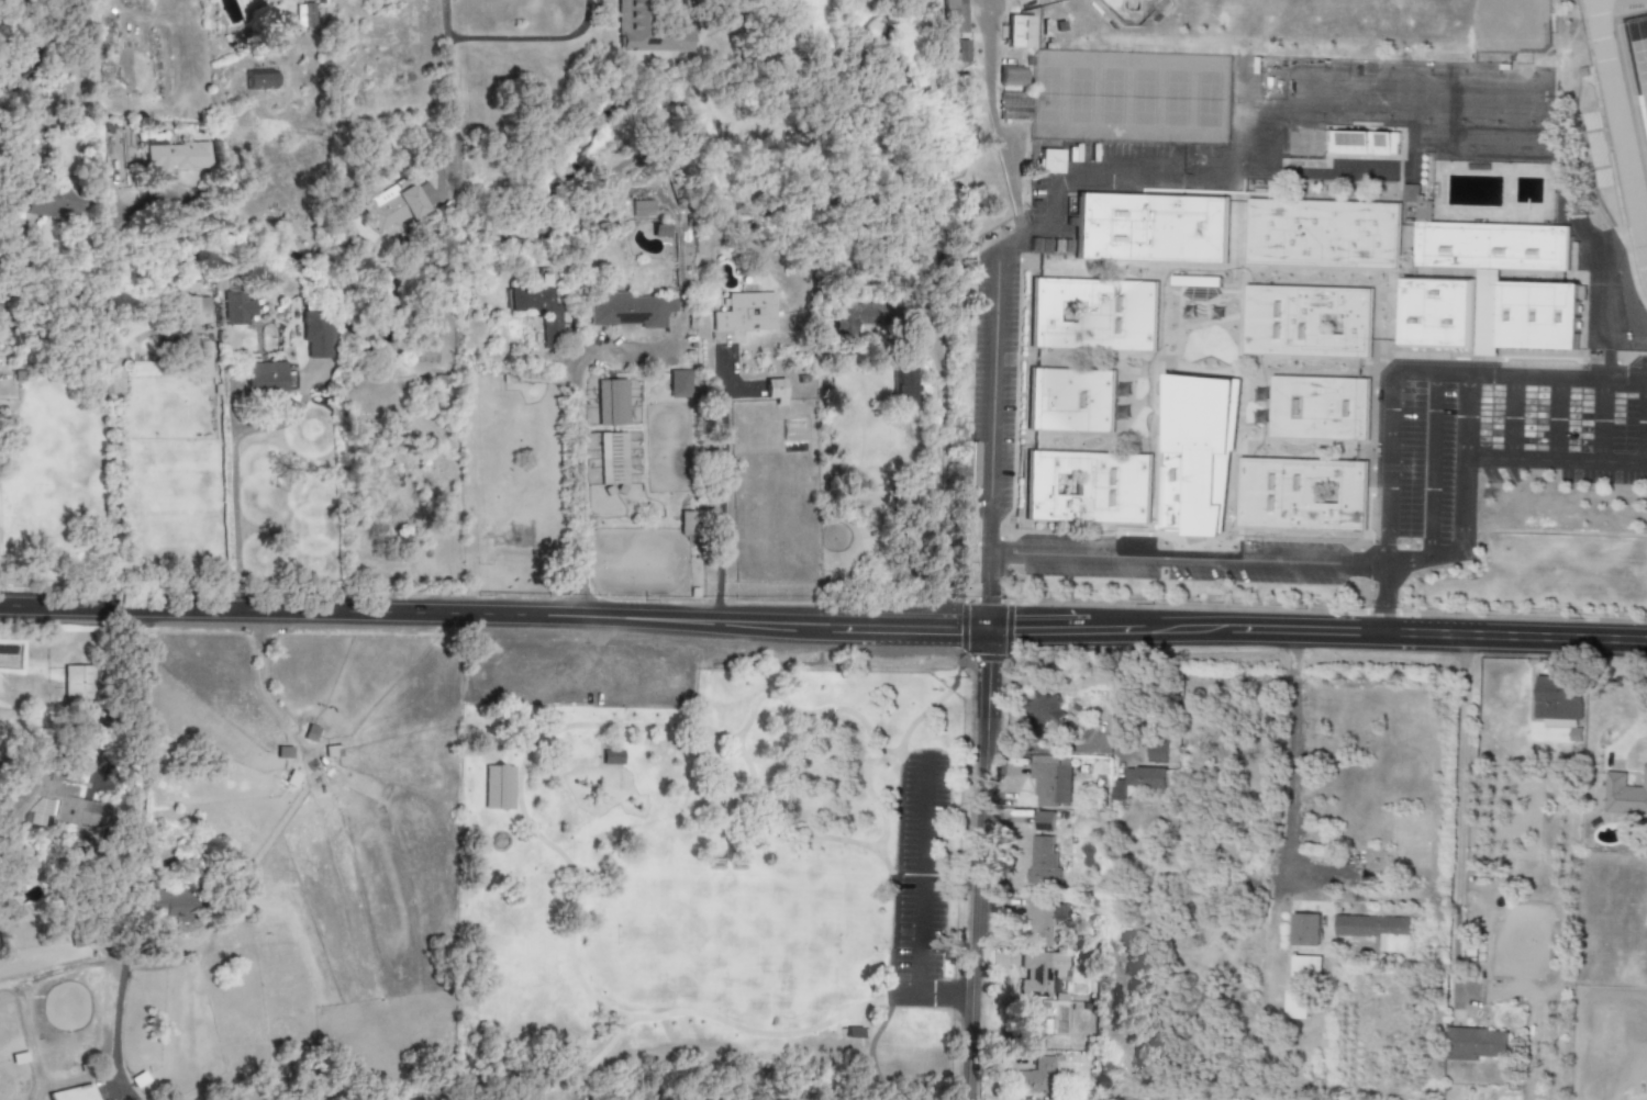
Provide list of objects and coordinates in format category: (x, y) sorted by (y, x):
road: (112, 0)
building: (304, 15)
building: (953, 16)
road: (445, 20)
building: (646, 31)
building: (1020, 32)
road: (531, 43)
park: (1639, 53)
building: (1011, 76)
building: (259, 79)
road: (444, 101)
track: (1618, 131)
building: (1362, 143)
building: (1294, 146)
building: (1313, 146)
building: (175, 157)
building: (1049, 161)
road: (1212, 175)
road: (848, 202)
building: (54, 203)
building: (399, 207)
building: (642, 209)
building: (1150, 227)
building: (658, 232)
building: (1322, 234)
road: (280, 251)
road: (29, 261)
road: (680, 274)
building: (1195, 282)
building: (1487, 288)
road: (12, 298)
road: (105, 308)
building: (237, 308)
building: (627, 310)
building: (197, 311)
building: (539, 312)
building: (745, 313)
building: (1092, 315)
building: (857, 317)
building: (1307, 322)
building: (318, 334)
building: (198, 358)
road: (1428, 372)
building: (903, 377)
road: (1557, 377)
building: (264, 378)
building: (679, 384)
building: (775, 391)
building: (1069, 401)
building: (612, 403)
building: (1318, 408)
road: (1511, 417)
road: (1555, 418)
road: (1600, 420)
road: (1646, 422)
road: (578, 442)
building: (613, 459)
road: (1556, 461)
road: (1464, 462)
building: (967, 464)
road: (1431, 465)
road: (1389, 468)
road: (234, 469)
road: (111, 487)
building: (1087, 487)
road: (721, 489)
building: (1301, 494)
building: (686, 523)
road: (1424, 559)
road: (1223, 561)
road: (993, 591)
traffic signals: (993, 595)
road: (494, 614)
traffic signals: (1034, 622)
traffic signals: (954, 627)
road: (1317, 632)
parking lot: (575, 674)
road: (608, 674)
traffic signals: (990, 674)
building: (77, 683)
road: (1642, 696)
road: (104, 699)
building: (1559, 704)
building: (1043, 707)
road: (926, 710)
road: (849, 712)
road: (622, 716)
road: (884, 751)
building: (1157, 752)
building: (612, 757)
road: (1292, 767)
building: (292, 778)
building: (321, 778)
building: (1051, 781)
building: (1138, 781)
building: (498, 787)
building: (1624, 794)
building: (59, 804)
road: (1459, 811)
road: (525, 818)
building: (1043, 821)
road: (142, 843)
building: (1042, 860)
road: (979, 861)
road: (922, 875)
park: (705, 877)
parking lot: (917, 882)
building: (174, 902)
building: (1042, 920)
building: (1305, 930)
building: (1378, 931)
park: (727, 939)
building: (1304, 967)
building: (1042, 973)
road: (945, 994)
building: (1295, 1004)
building: (1033, 1024)
building: (854, 1032)
building: (1476, 1044)
road: (588, 1064)
road: (876, 1068)
building: (1037, 1078)
building: (67, 1081)

